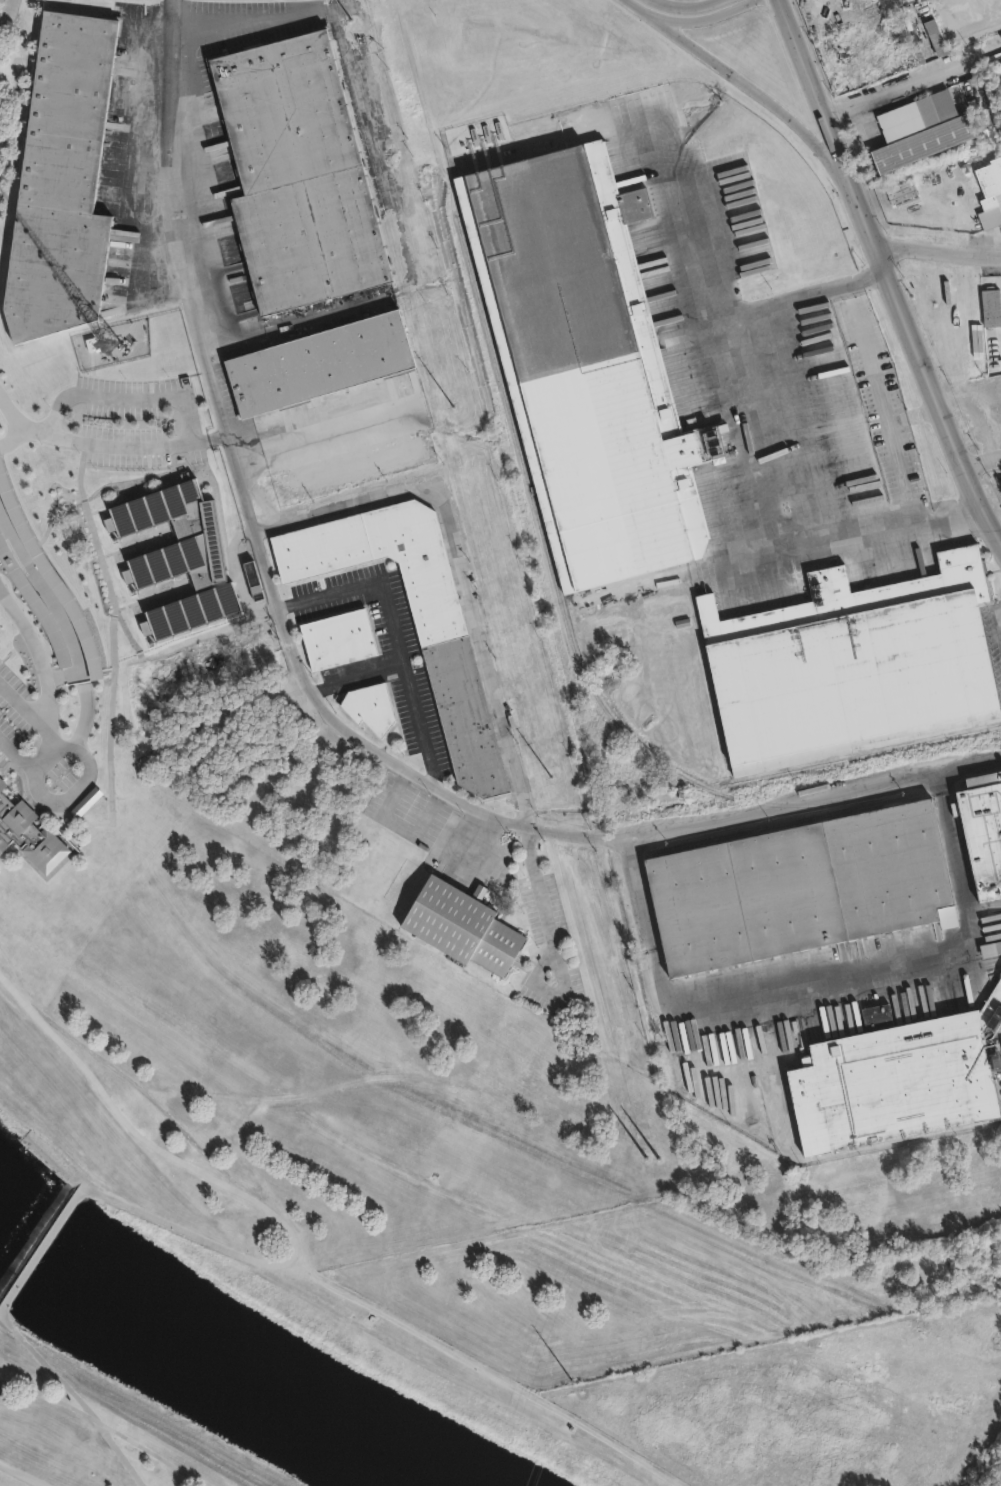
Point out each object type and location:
road: (689, 6)
road: (5, 8)
road: (708, 18)
power tower: (353, 27)
road: (736, 79)
road: (912, 83)
road: (358, 106)
building: (917, 115)
building: (923, 145)
building: (294, 176)
building: (989, 181)
building: (59, 183)
road: (938, 255)
road: (885, 275)
road: (864, 276)
road: (202, 307)
building: (991, 307)
road: (274, 323)
building: (321, 361)
building: (585, 363)
road: (874, 376)
building: (1000, 380)
road: (787, 394)
power tower: (451, 398)
building: (996, 410)
road: (109, 444)
road: (980, 462)
building: (899, 469)
building: (999, 484)
road: (927, 523)
building: (176, 557)
road: (458, 568)
road: (236, 577)
building: (248, 577)
road: (55, 604)
building: (417, 620)
road: (394, 633)
railway: (567, 634)
building: (338, 638)
building: (855, 666)
road: (42, 673)
road: (357, 679)
building: (369, 706)
railway: (862, 754)
road: (43, 757)
power tower: (548, 768)
building: (0, 780)
road: (72, 786)
building: (87, 803)
railway: (816, 814)
building: (27, 833)
road: (593, 835)
building: (982, 841)
building: (801, 888)
building: (456, 922)
road: (554, 947)
building: (989, 950)
road: (819, 978)
building: (871, 1010)
building: (887, 1081)
power tower: (646, 1139)
park: (353, 1140)
road: (815, 1157)
road: (235, 1190)
dam: (40, 1251)
road: (41, 1252)
river: (215, 1357)
road: (470, 1373)
road: (46, 1396)
road: (91, 1417)
road: (118, 1455)
road: (23, 1473)

